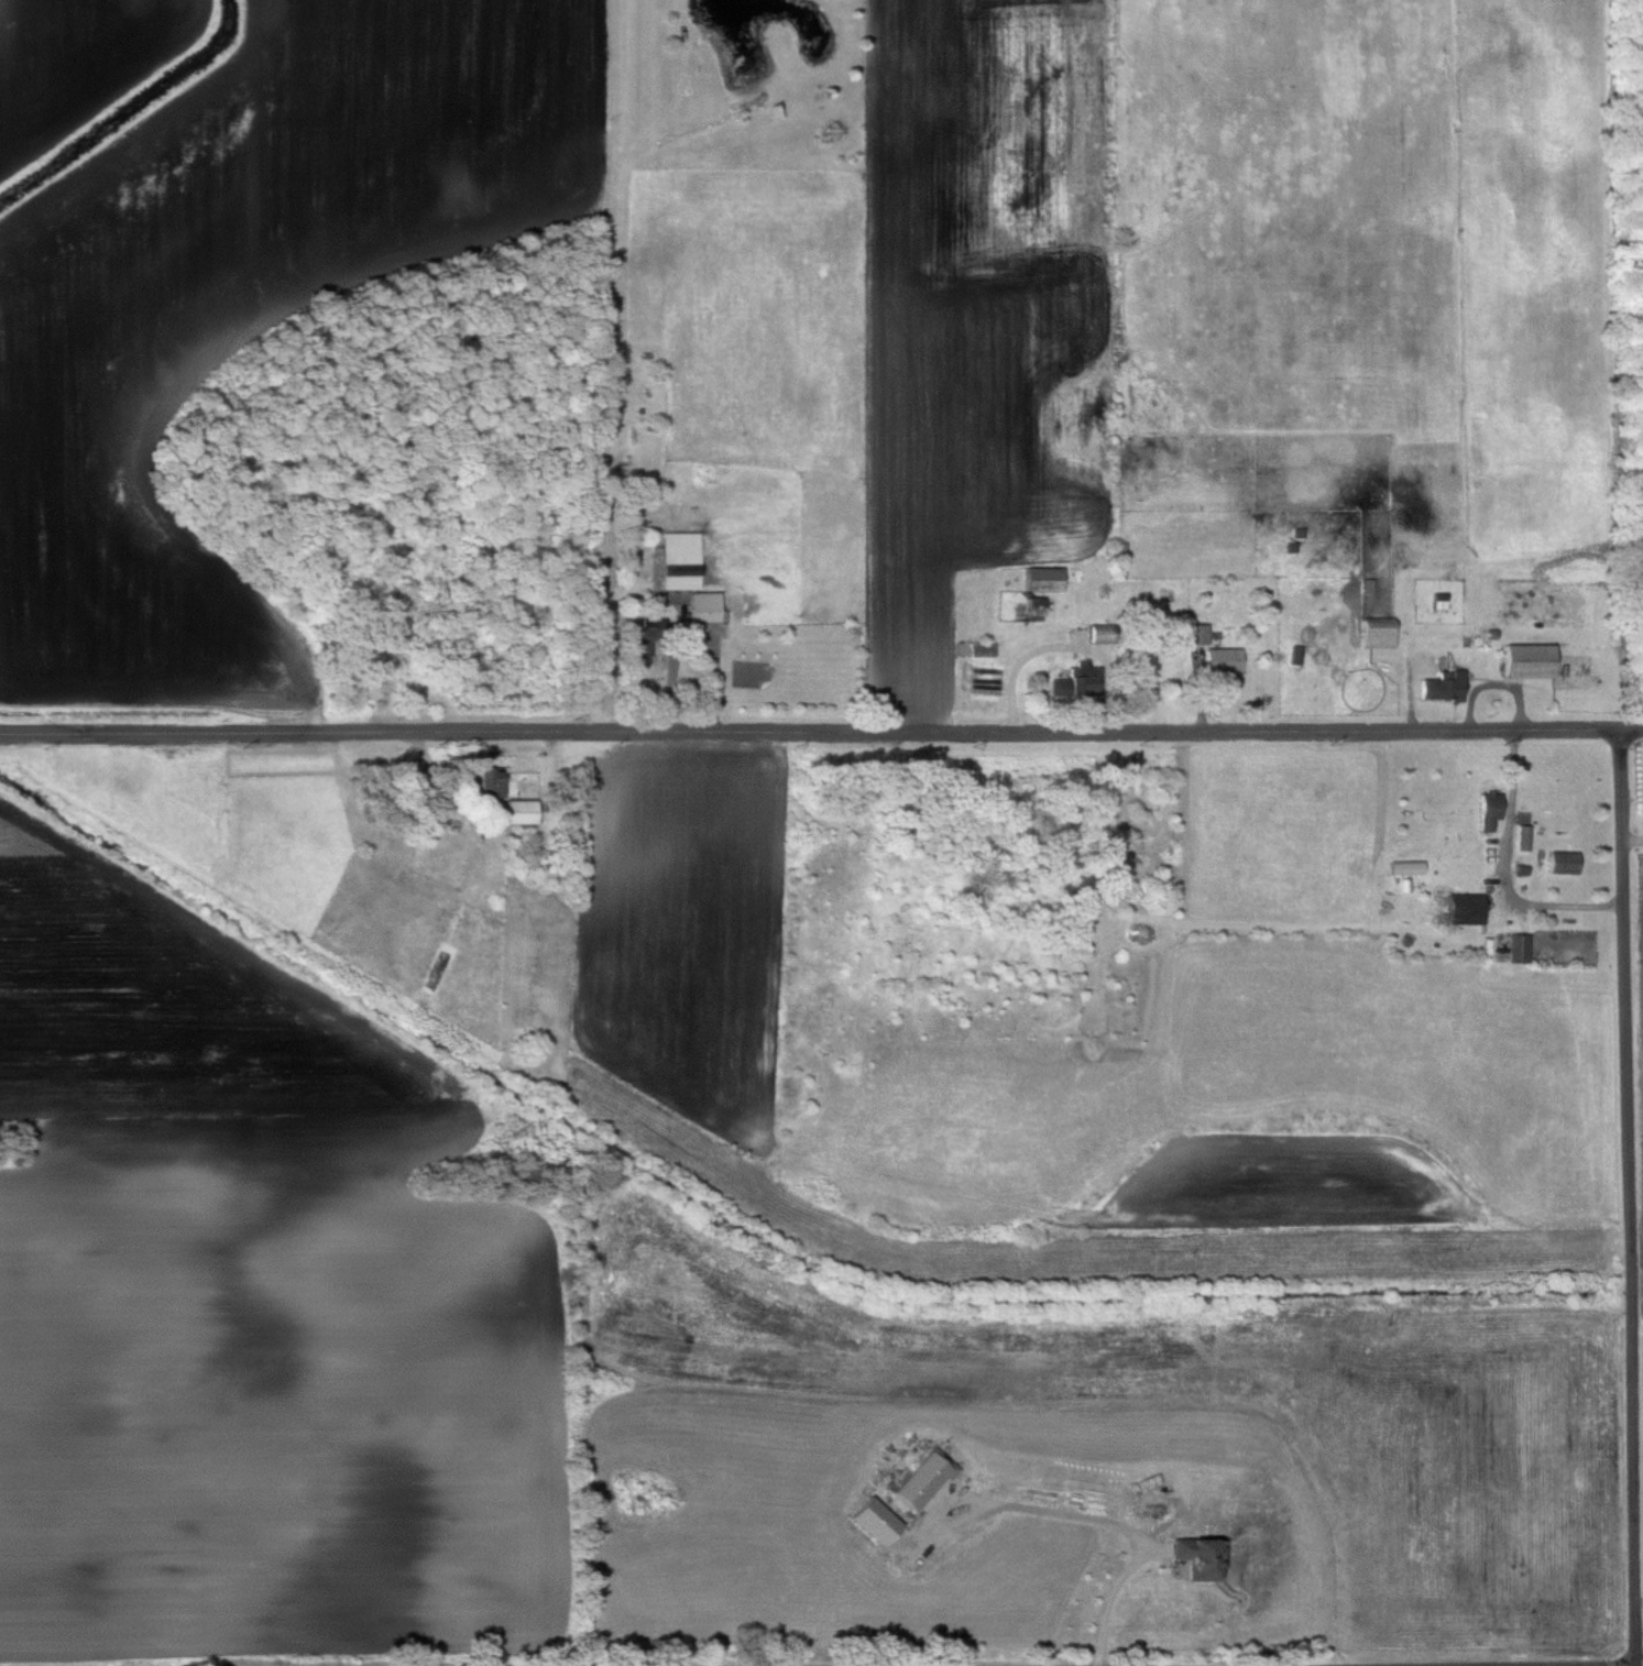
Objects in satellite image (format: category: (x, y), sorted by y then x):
building: (681, 560)
building: (1042, 580)
building: (1014, 604)
building: (704, 607)
building: (1034, 607)
building: (1378, 633)
building: (1100, 634)
building: (1197, 634)
road: (697, 639)
building: (644, 640)
road: (1065, 647)
building: (983, 649)
building: (1224, 660)
building: (1527, 661)
building: (1077, 681)
building: (1443, 687)
road: (821, 733)
building: (490, 781)
building: (516, 812)
building: (1488, 816)
building: (1564, 864)
building: (1406, 869)
road: (1511, 870)
building: (1463, 910)
building: (1519, 950)
road: (1632, 1196)
building: (922, 1479)
road: (1106, 1521)
building: (1196, 1554)
road: (1641, 1589)
road: (1642, 1665)

